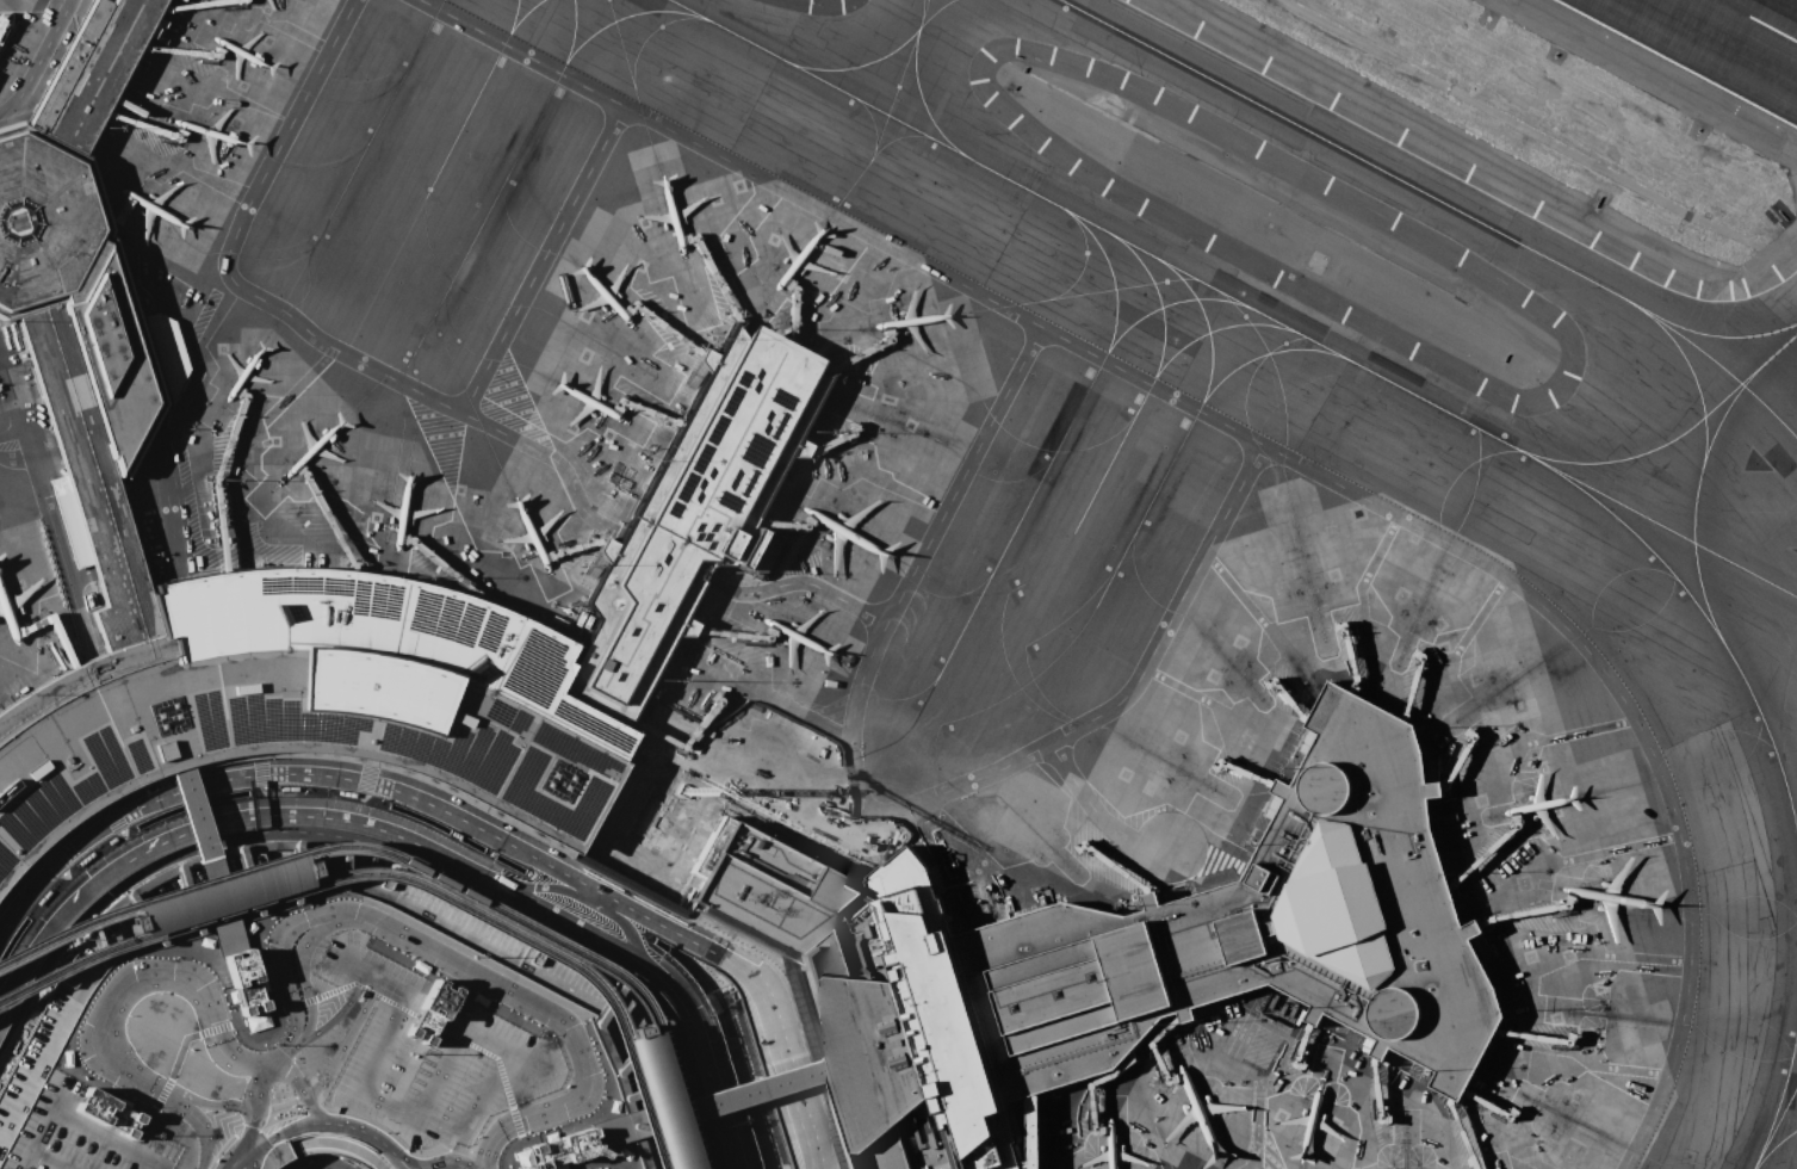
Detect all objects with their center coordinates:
airport taxiway: (922, 8)
airport taxiway: (514, 16)
airport runway: (1756, 20)
airport apron: (12, 23)
airport taxiway: (572, 30)
airport taxiway: (884, 56)
road: (35, 61)
airport taxiway: (916, 81)
airport apron: (211, 117)
airport taxiway: (518, 153)
airport taxiway: (359, 157)
airport taxiway: (438, 171)
airport taxiway: (1438, 199)
road: (540, 260)
airport taxiway: (1159, 295)
road: (298, 323)
airport taxiway: (1708, 333)
airport taxiway: (1310, 336)
airport taxiway: (1724, 412)
airport taxiway: (1674, 437)
airport taxiway: (1120, 439)
road: (1257, 443)
airport terminal: (730, 445)
building: (730, 445)
airport taxiway: (1703, 454)
airport apron: (593, 464)
airport taxiway: (1657, 521)
road: (61, 540)
road: (663, 553)
road: (912, 564)
road: (707, 575)
road: (799, 580)
airport: (898, 584)
airport apron: (31, 611)
road: (1141, 676)
road: (259, 755)
road: (196, 765)
road: (368, 765)
road: (163, 774)
road: (209, 778)
road: (265, 790)
road: (107, 800)
road: (1098, 812)
building: (651, 819)
road: (278, 829)
road: (837, 829)
airport apron: (1124, 830)
road: (415, 839)
building: (800, 842)
road: (38, 848)
road: (962, 852)
railway: (299, 862)
railway: (414, 868)
railway: (397, 877)
road: (547, 883)
road: (948, 885)
road: (221, 893)
building: (221, 896)
road: (612, 911)
road: (990, 911)
building: (965, 914)
road: (599, 930)
road: (698, 941)
road: (745, 944)
road: (422, 946)
airport terminal: (1120, 955)
building: (1120, 955)
road: (626, 971)
road: (371, 973)
road: (786, 992)
road: (205, 995)
road: (678, 996)
road: (718, 1002)
road: (289, 1004)
road: (252, 1018)
road: (329, 1019)
railway: (638, 1034)
road: (484, 1038)
road: (342, 1040)
road: (380, 1041)
building: (811, 1052)
building: (331, 1053)
parking lot: (331, 1053)
road: (582, 1059)
road: (1064, 1059)
road: (265, 1066)
road: (692, 1066)
road: (125, 1072)
road: (436, 1074)
road: (298, 1085)
road: (1042, 1093)
road: (180, 1094)
airport taxiway: (1779, 1100)
road: (1058, 1101)
road: (478, 1102)
building: (657, 1102)
road: (383, 1106)
road: (252, 1109)
road: (675, 1111)
road: (526, 1118)
road: (316, 1120)
airport taxiway: (1776, 1127)
road: (1045, 1131)
airport terminal: (1031, 1133)
building: (1031, 1133)
road: (36, 1138)
road: (106, 1138)
road: (831, 1138)
road: (341, 1143)
road: (522, 1145)
airport taxiway: (1776, 1149)
road: (202, 1155)
road: (50, 1158)
road: (243, 1159)
road: (433, 1164)
road: (473, 1168)

